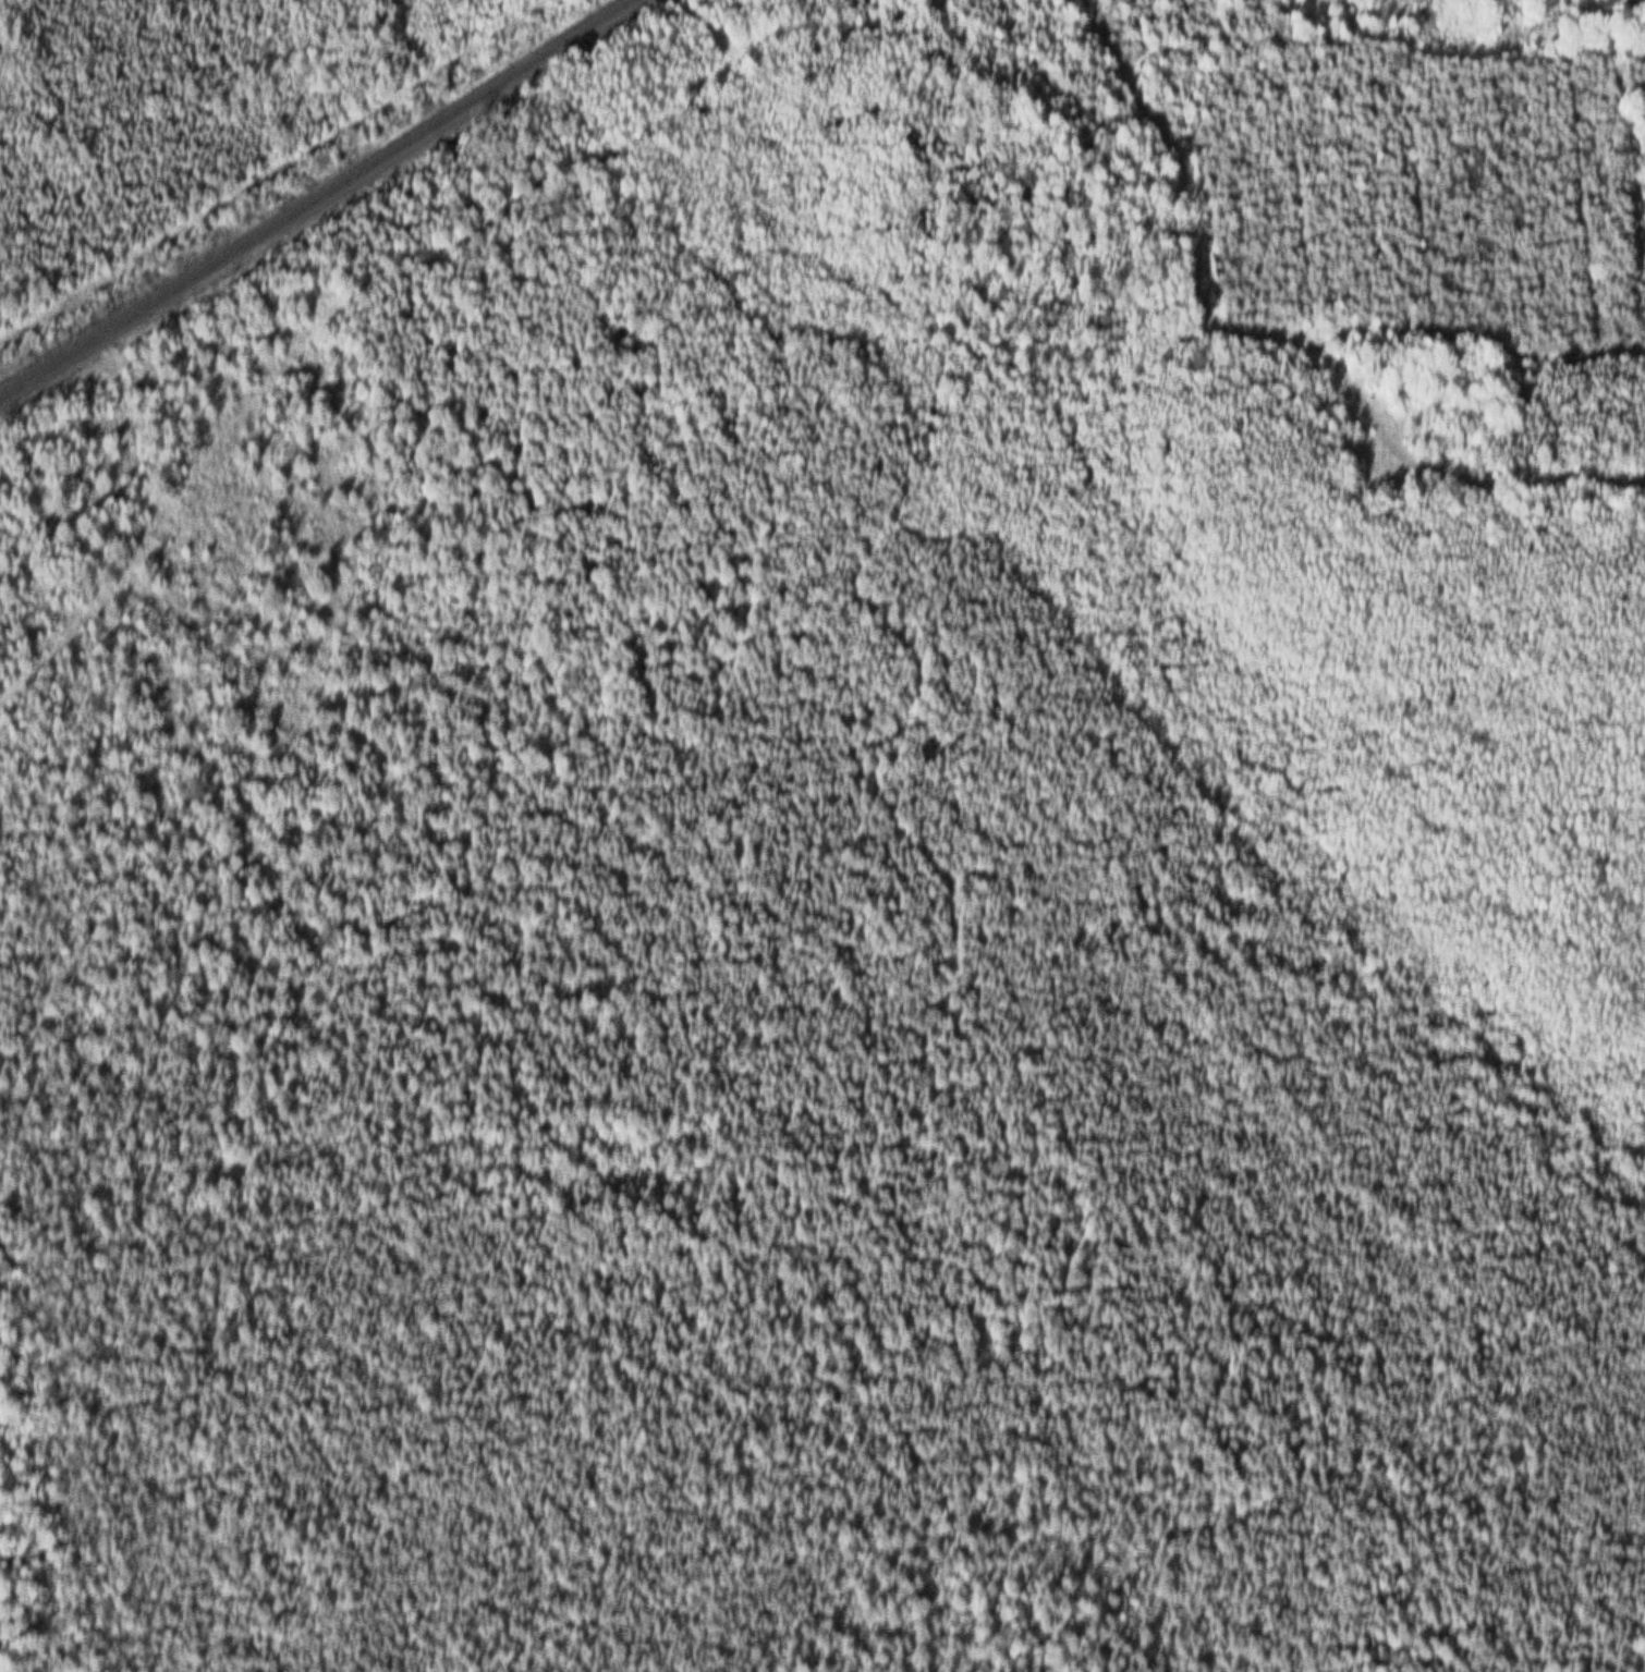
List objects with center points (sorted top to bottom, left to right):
railway: (315, 199)
road: (1435, 479)

